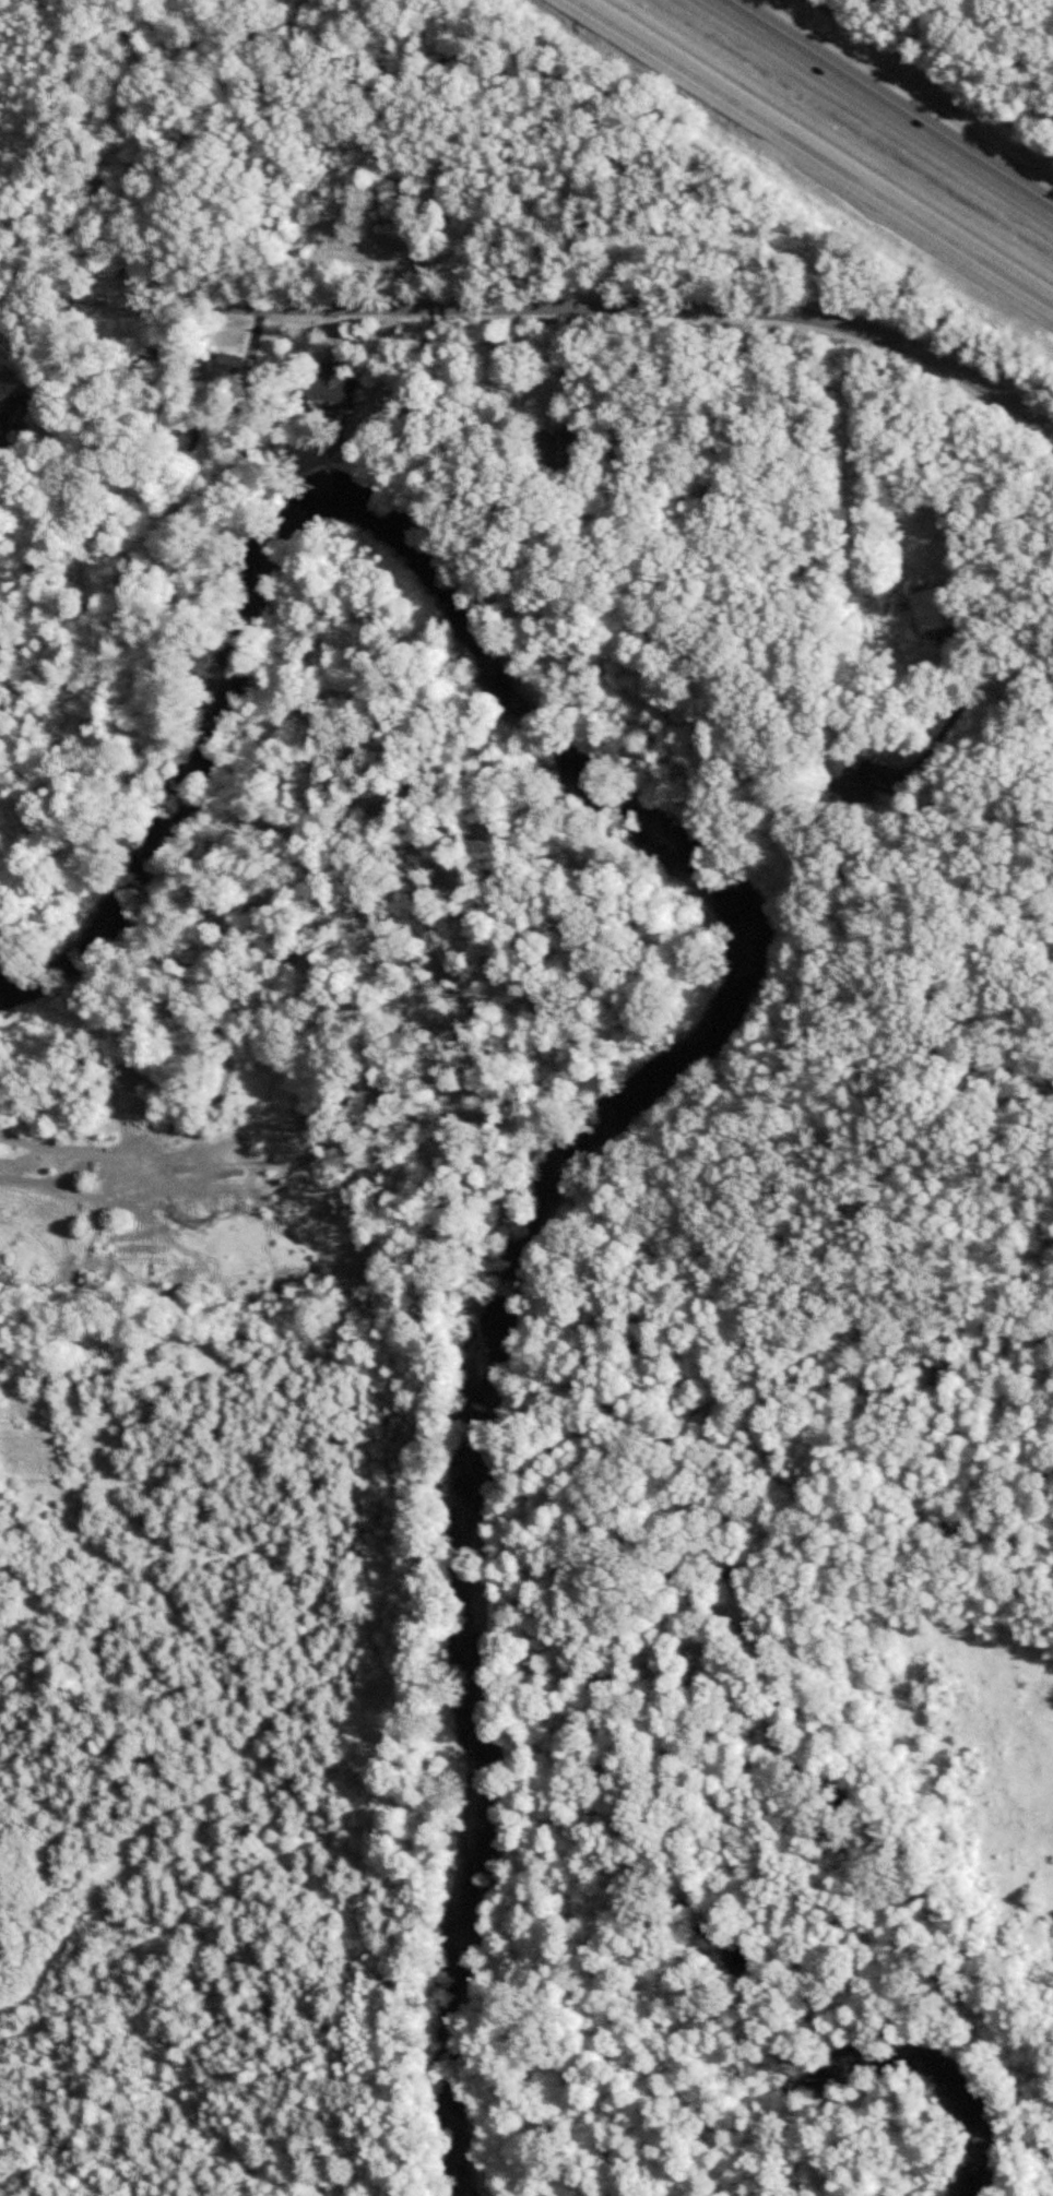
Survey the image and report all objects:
road: (885, 106)
road: (818, 149)
road: (539, 310)
building: (338, 387)
building: (14, 422)
building: (557, 441)
road: (857, 474)
building: (938, 606)
river: (737, 995)

